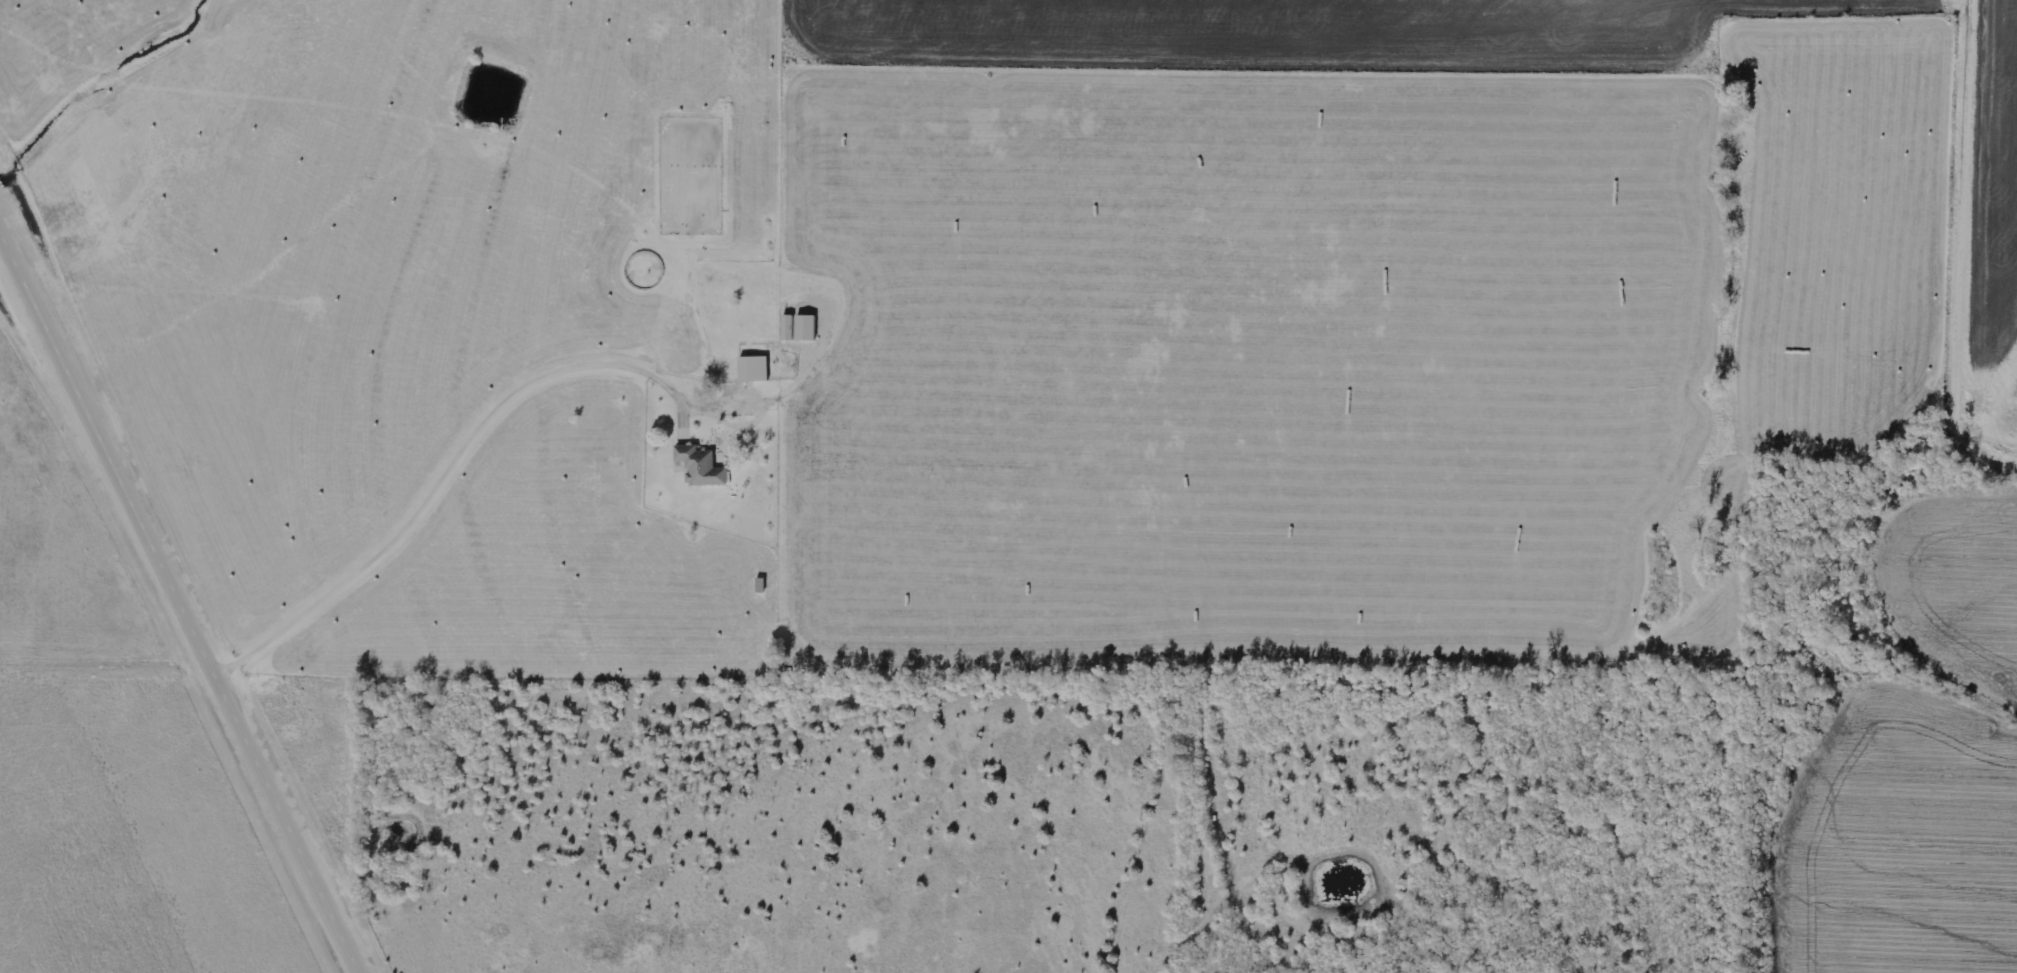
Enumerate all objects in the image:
road: (1967, 247)
building: (797, 327)
building: (752, 368)
building: (699, 466)
road: (176, 608)

